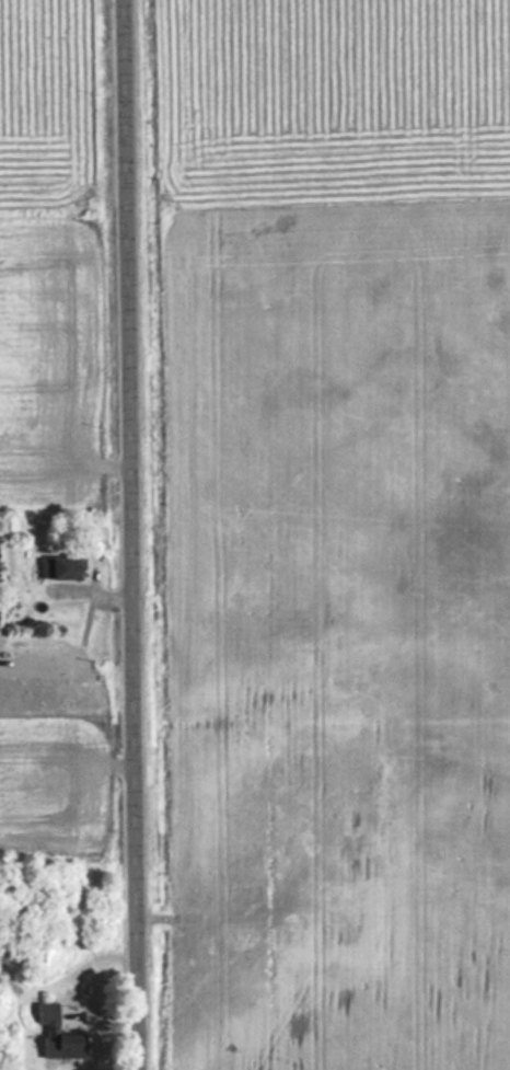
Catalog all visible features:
road: (129, 534)
building: (61, 567)
building: (297, 801)
building: (372, 866)
building: (345, 908)
building: (245, 937)
building: (59, 1034)

